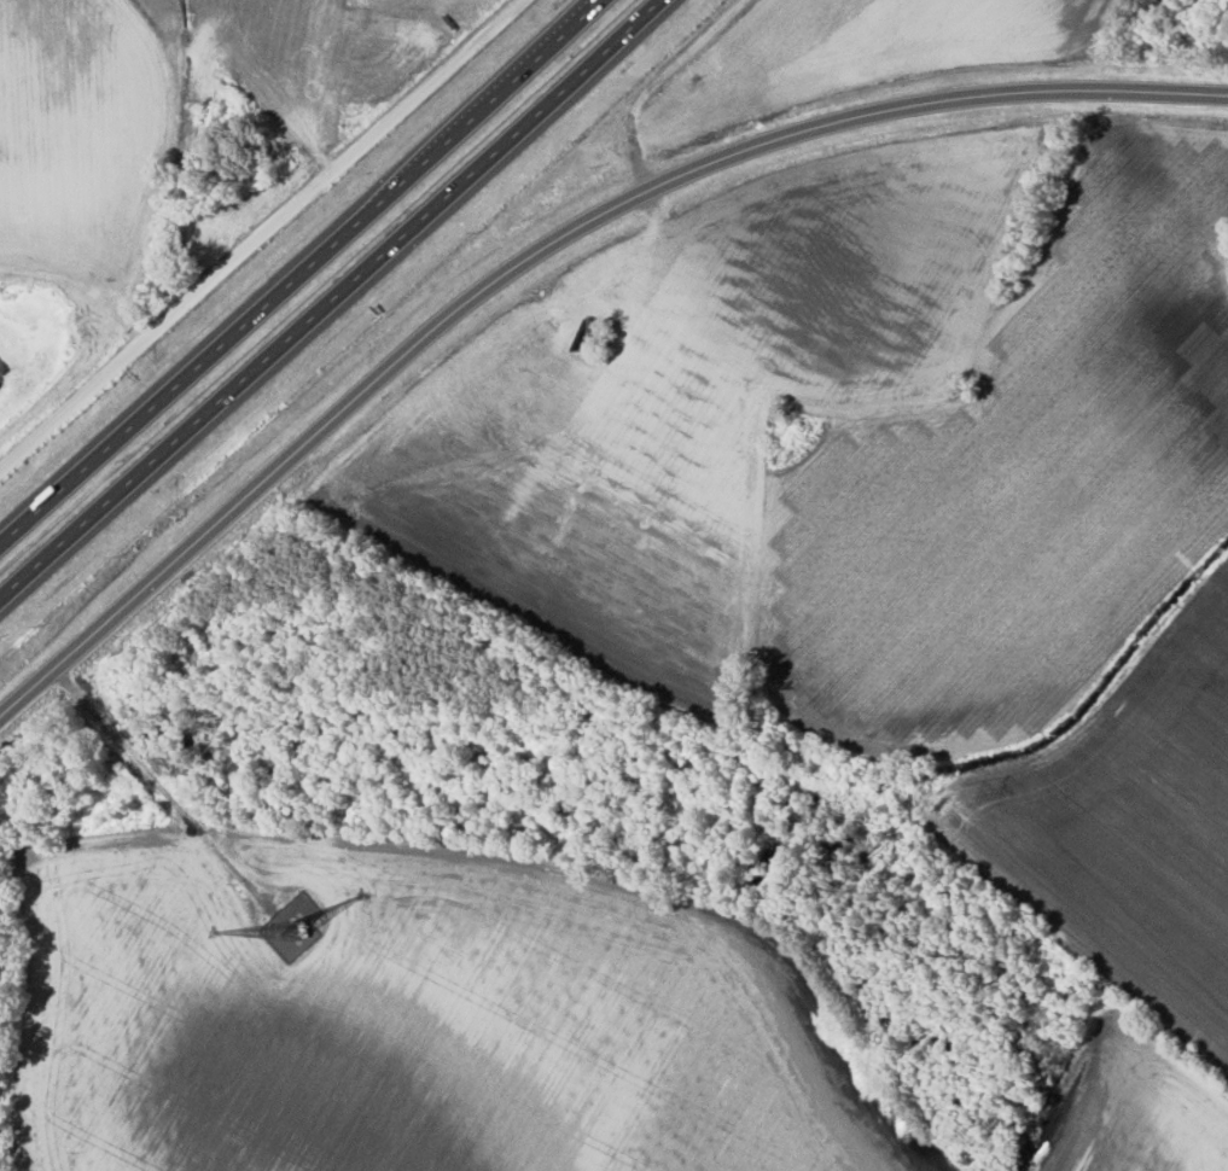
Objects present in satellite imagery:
road: (652, 158)
road: (344, 169)
road: (543, 254)
road: (303, 279)
road: (333, 303)
road: (78, 407)

